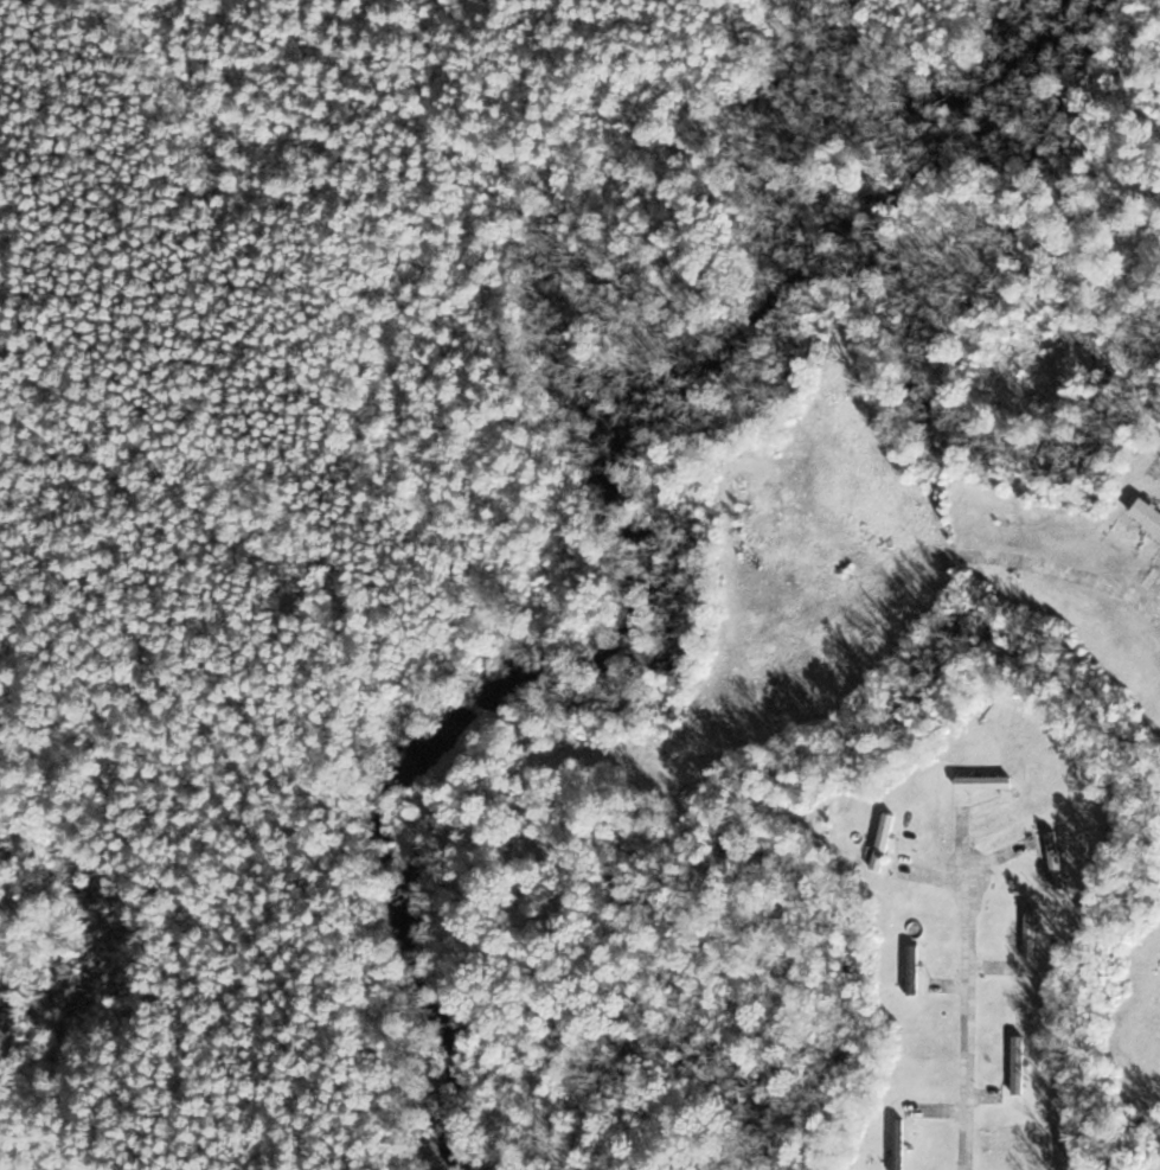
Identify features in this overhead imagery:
road: (1070, 569)
building: (989, 780)
building: (889, 839)
building: (1059, 858)
building: (1034, 932)
building: (917, 968)
road: (969, 1019)
building: (1023, 1063)
building: (903, 1144)

